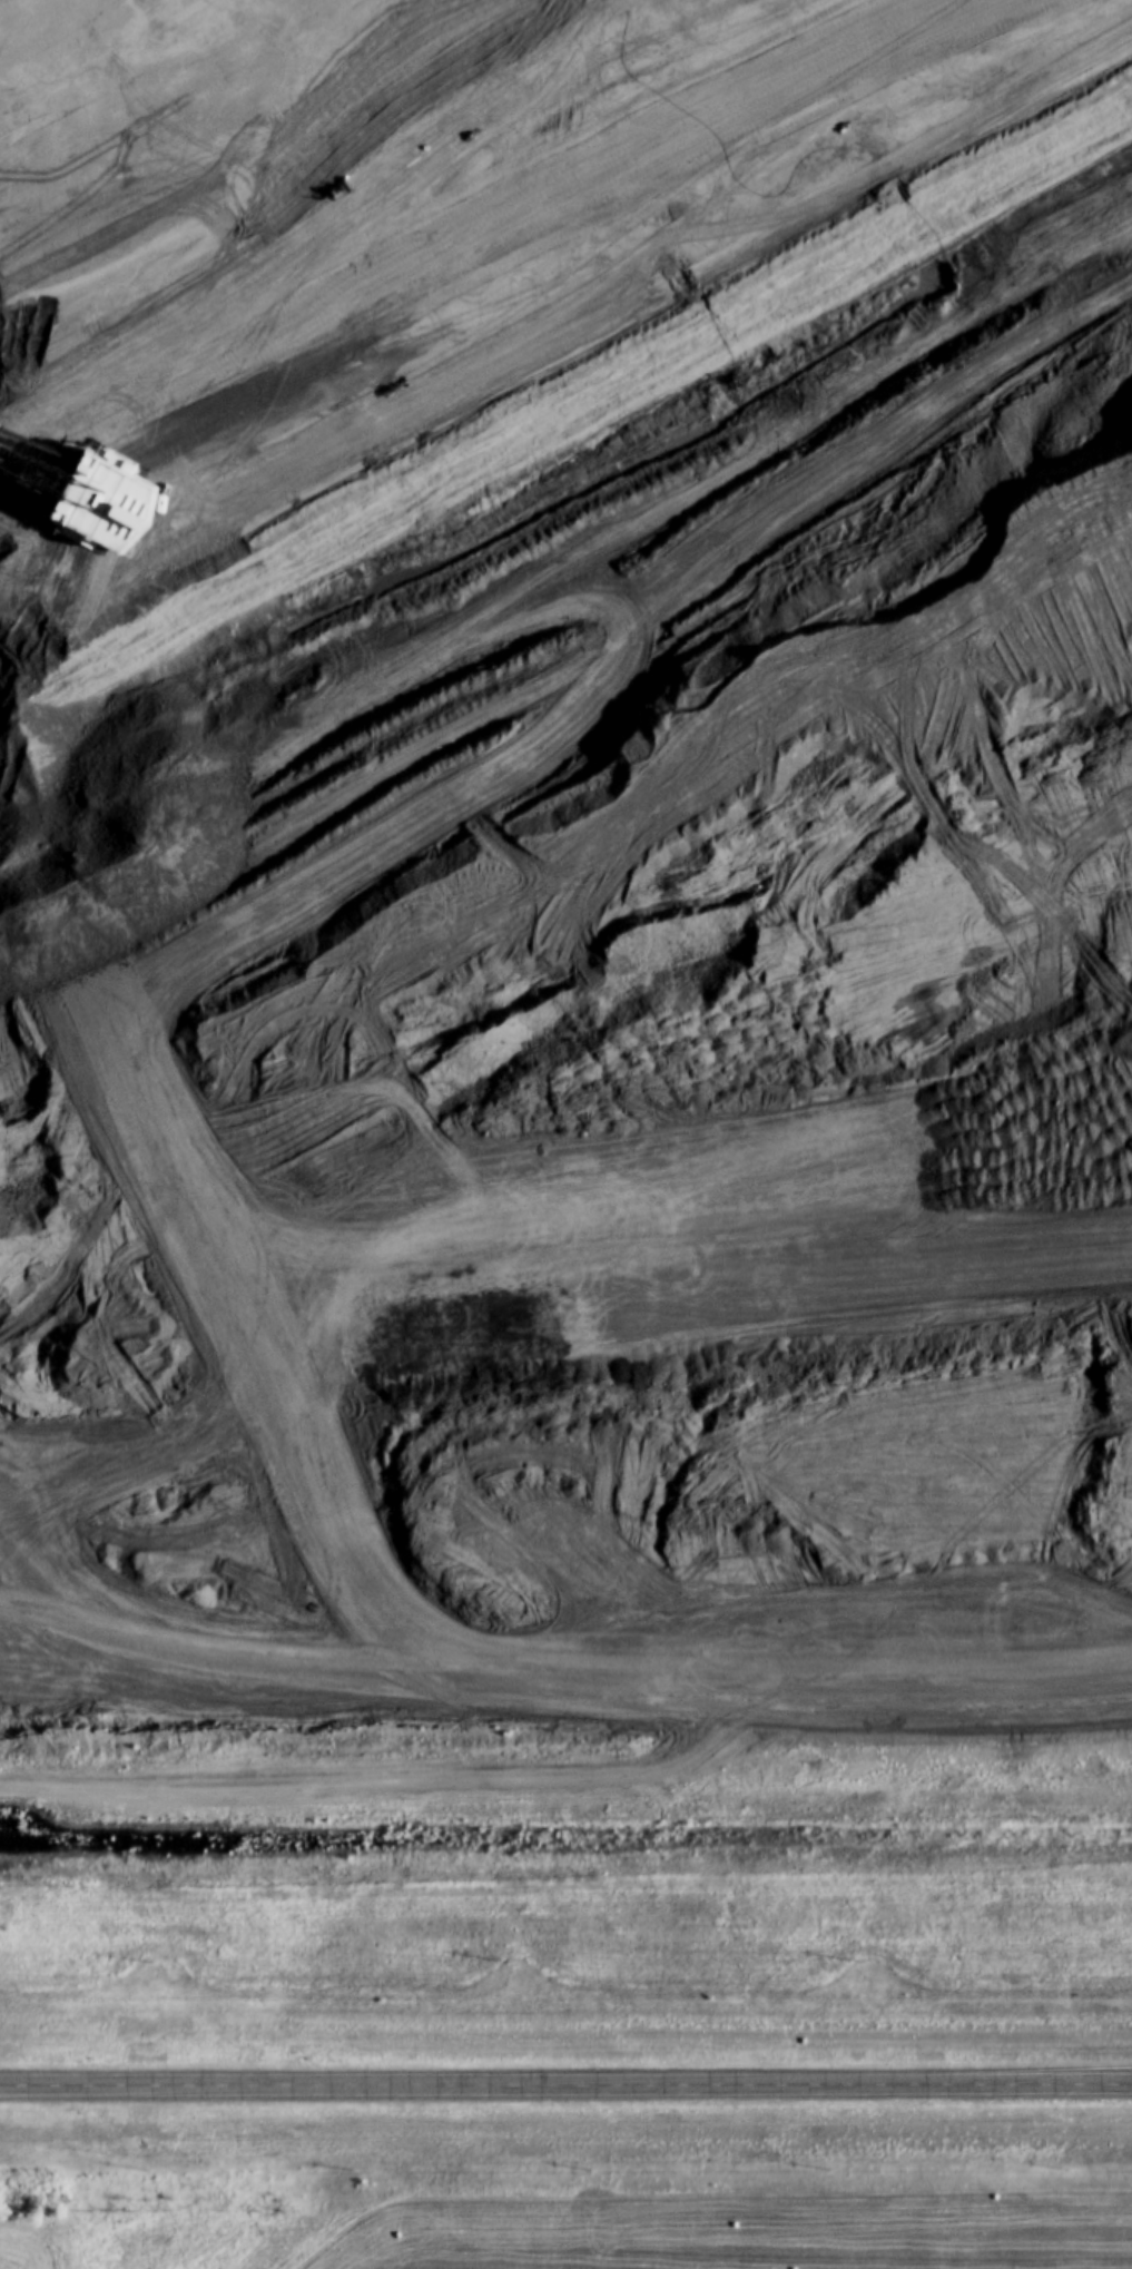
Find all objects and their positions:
road: (565, 2082)
quarry: (785, 2259)

